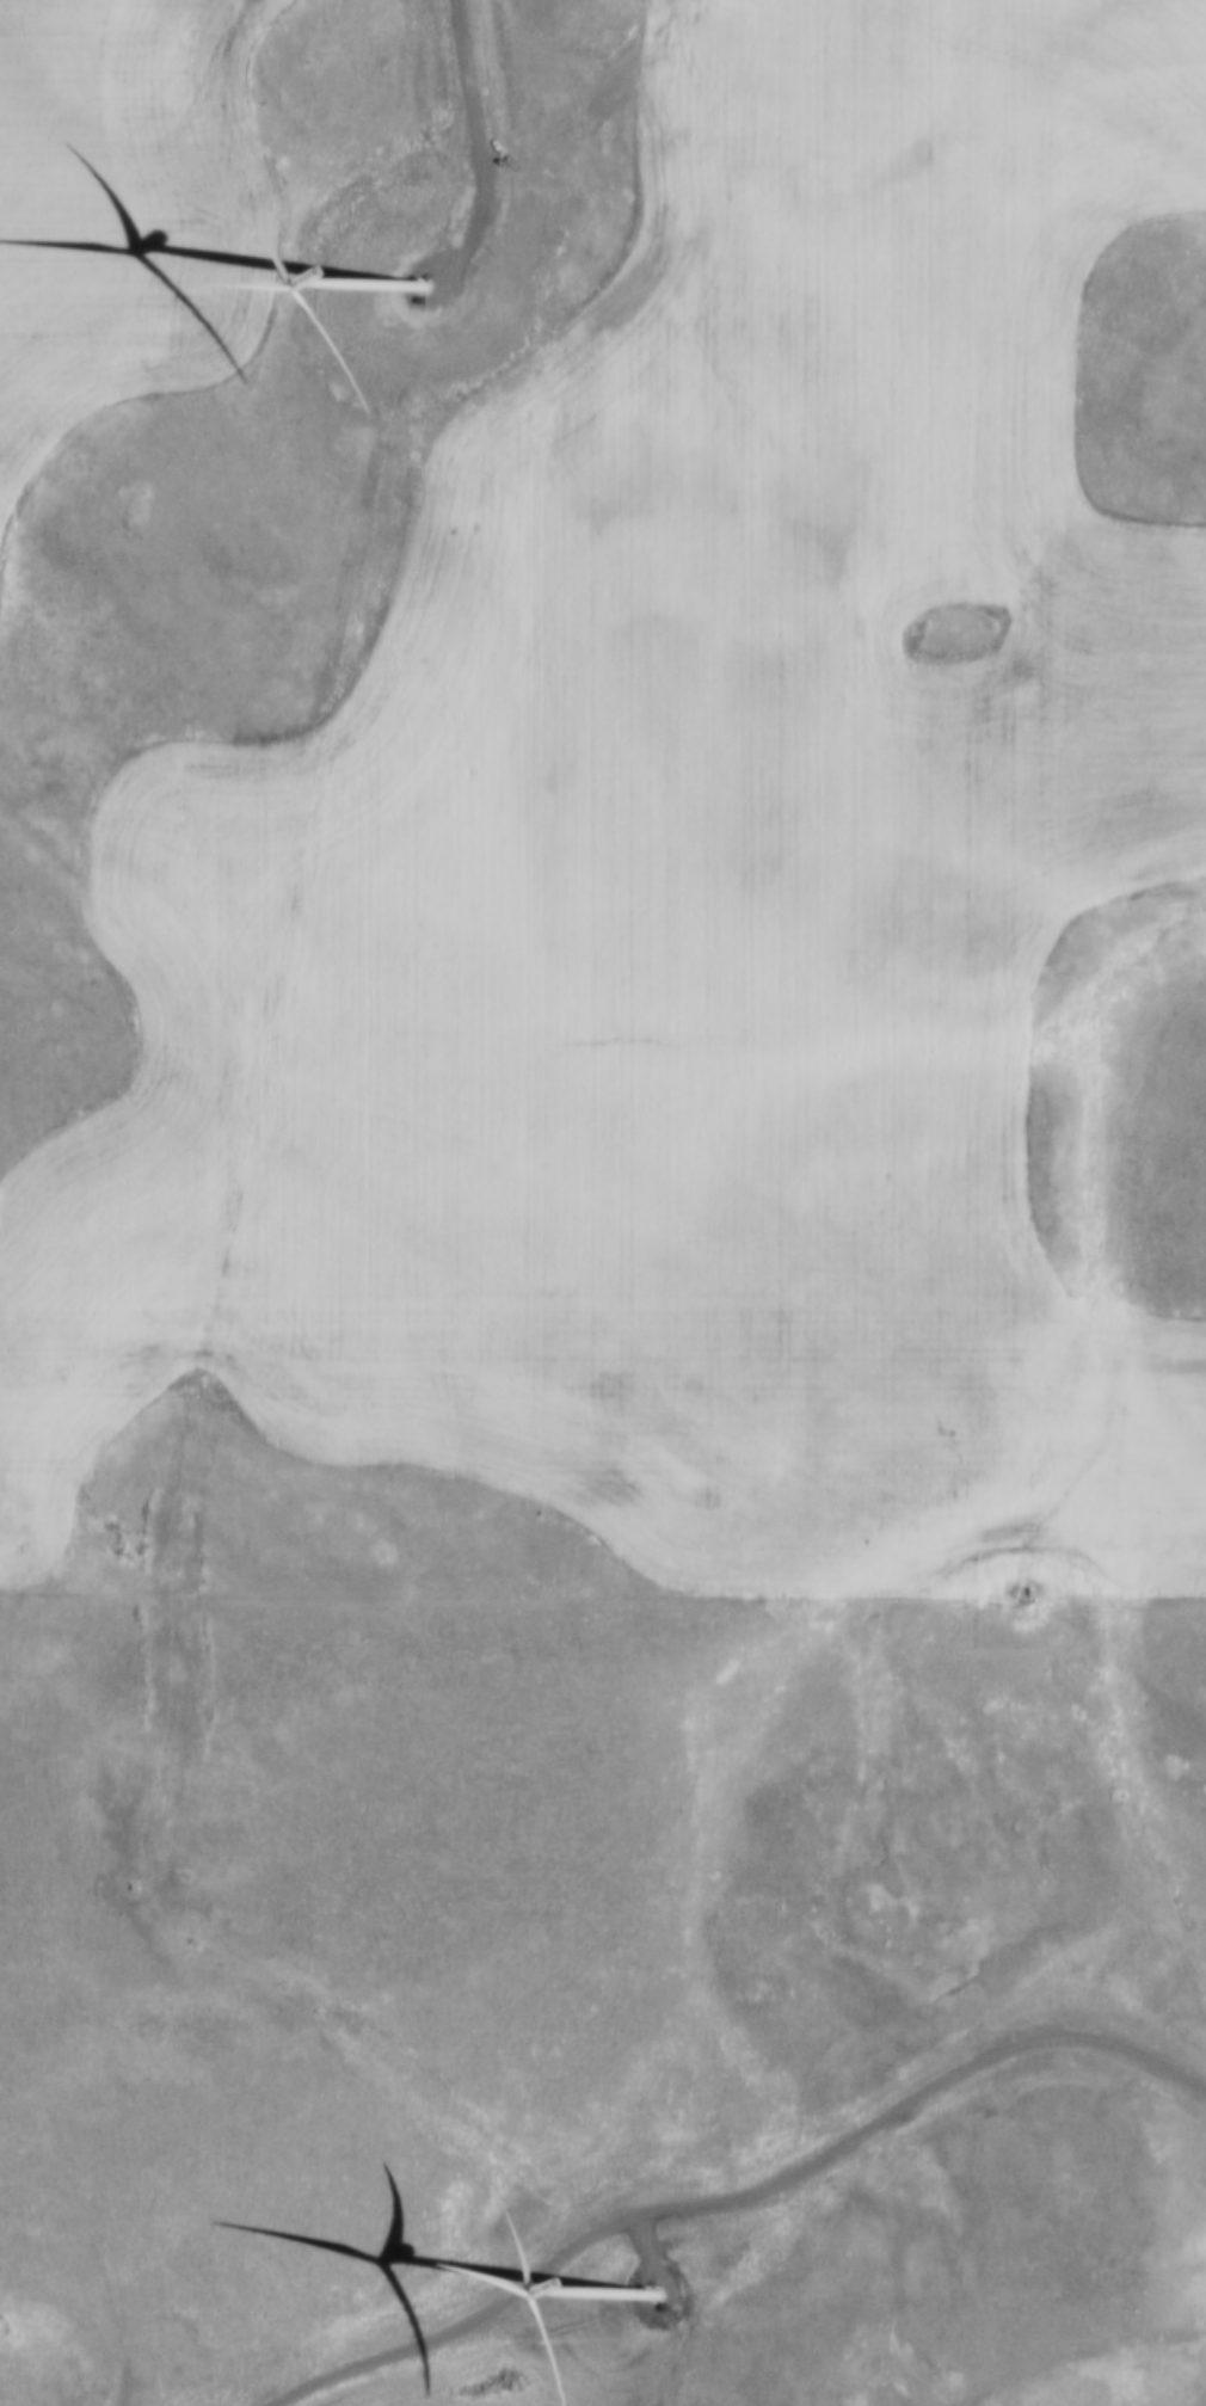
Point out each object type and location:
road: (481, 127)
wind turbine: (420, 273)
road: (731, 2191)
wind turbine: (663, 2294)

